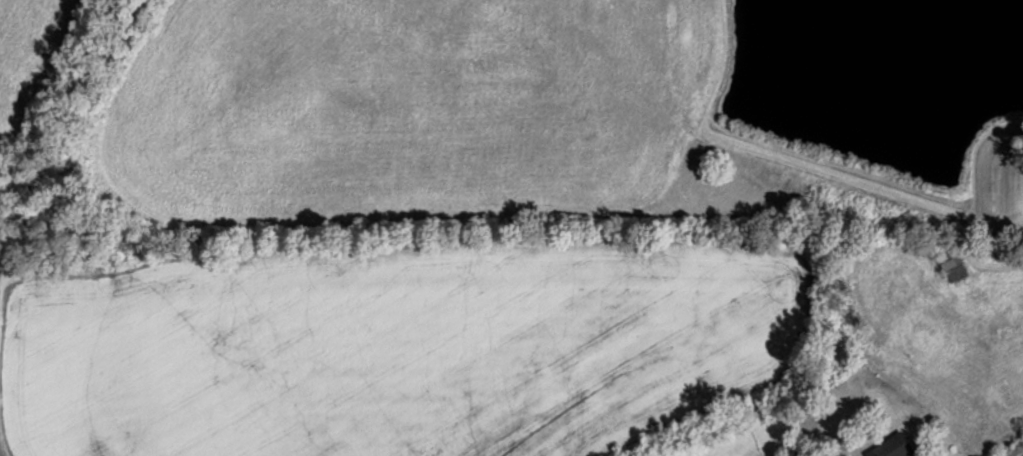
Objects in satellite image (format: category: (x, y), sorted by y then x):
building: (950, 263)
building: (891, 447)

